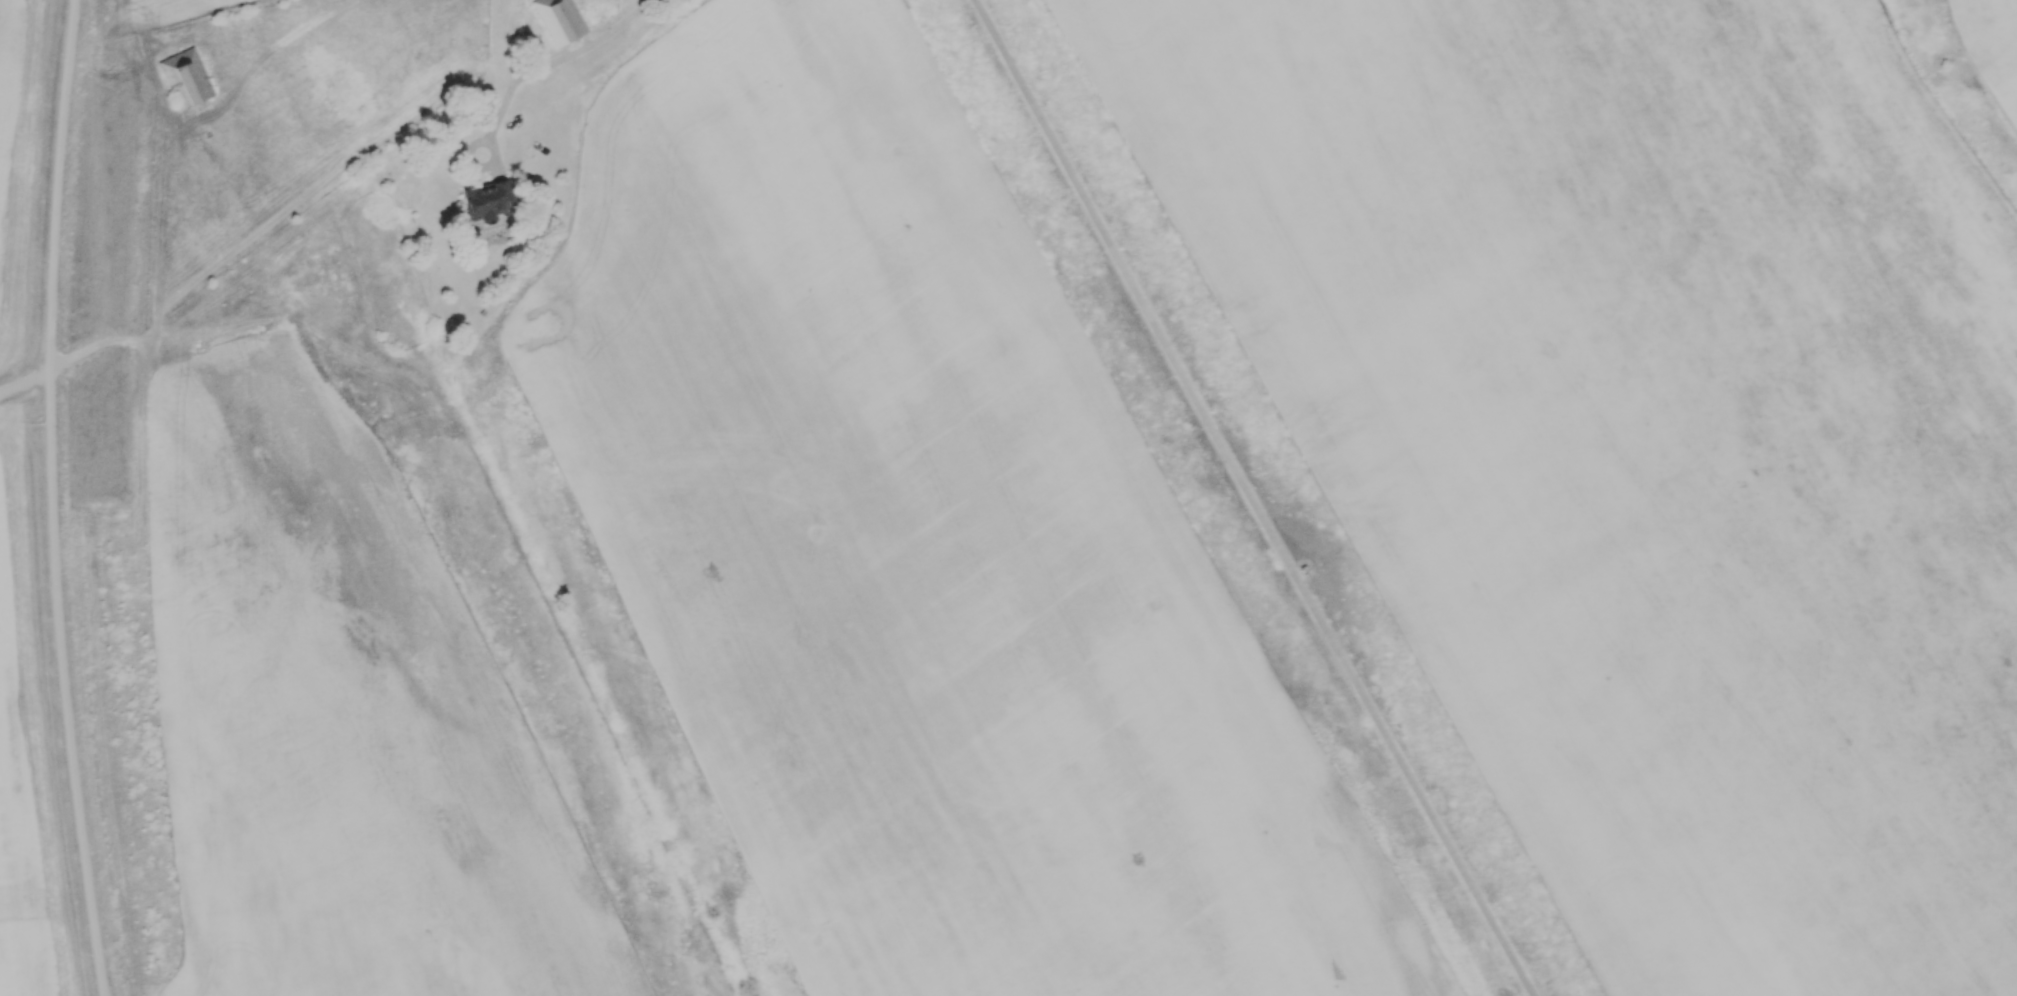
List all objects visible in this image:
road: (551, 62)
crop: (3, 67)
road: (463, 157)
crop: (1645, 438)
road: (49, 498)
road: (1247, 500)
crop: (926, 551)
crop: (349, 717)
crop: (22, 819)

